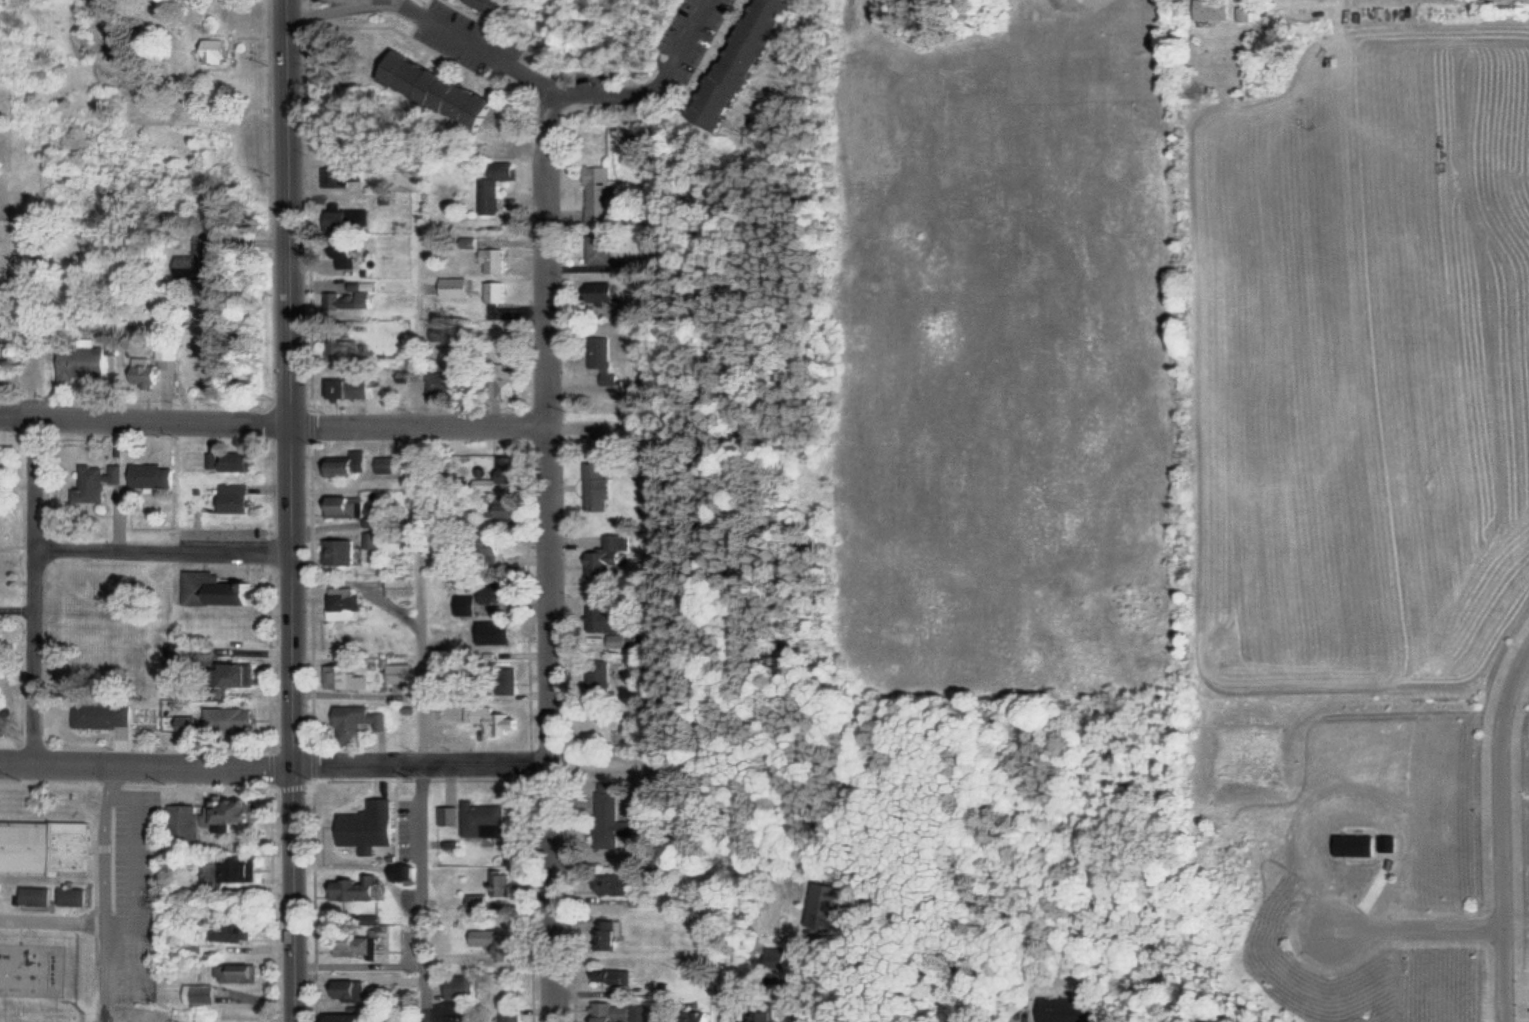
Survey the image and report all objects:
building: (1218, 9)
building: (221, 50)
building: (746, 62)
road: (568, 88)
building: (445, 89)
building: (353, 176)
building: (498, 185)
building: (603, 193)
building: (604, 249)
building: (349, 252)
building: (497, 259)
building: (199, 260)
building: (458, 287)
building: (497, 291)
building: (607, 292)
building: (354, 297)
building: (350, 353)
building: (4, 360)
building: (605, 360)
building: (91, 362)
building: (150, 374)
building: (409, 376)
building: (462, 377)
building: (354, 388)
road: (146, 418)
road: (422, 423)
building: (232, 461)
building: (353, 465)
building: (390, 465)
building: (512, 469)
building: (3, 471)
building: (157, 475)
building: (100, 481)
building: (601, 486)
building: (238, 498)
building: (348, 506)
building: (508, 508)
road: (292, 511)
road: (164, 550)
building: (345, 551)
road: (553, 554)
building: (608, 556)
road: (36, 585)
building: (404, 587)
building: (221, 589)
building: (501, 592)
building: (347, 603)
building: (471, 605)
building: (606, 619)
building: (1, 633)
building: (509, 636)
building: (404, 673)
building: (600, 673)
building: (248, 674)
building: (350, 675)
road: (359, 685)
building: (1, 705)
building: (107, 715)
building: (487, 716)
building: (237, 719)
building: (363, 720)
road: (424, 722)
road: (146, 761)
road: (423, 765)
building: (238, 811)
building: (453, 815)
building: (488, 820)
building: (612, 820)
building: (187, 821)
building: (374, 828)
road: (1502, 833)
building: (48, 847)
building: (235, 870)
building: (504, 883)
building: (618, 883)
building: (360, 888)
road: (103, 891)
building: (42, 895)
building: (77, 896)
building: (480, 902)
building: (645, 902)
road: (50, 914)
road: (1418, 929)
building: (237, 930)
building: (613, 935)
building: (500, 942)
building: (363, 945)
road: (362, 958)
building: (242, 973)
building: (617, 976)
building: (468, 989)
building: (354, 990)
building: (203, 994)
building: (1068, 1009)
building: (624, 1012)
building: (514, 1014)
building: (760, 1016)
building: (659, 1017)
building: (352, 1018)
building: (700, 1018)

